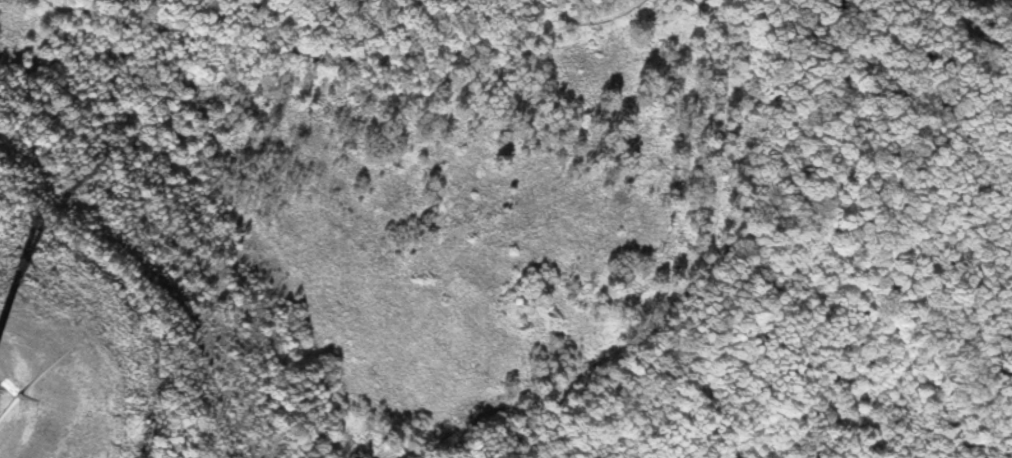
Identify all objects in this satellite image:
road: (693, 21)
road: (670, 43)
road: (885, 116)

